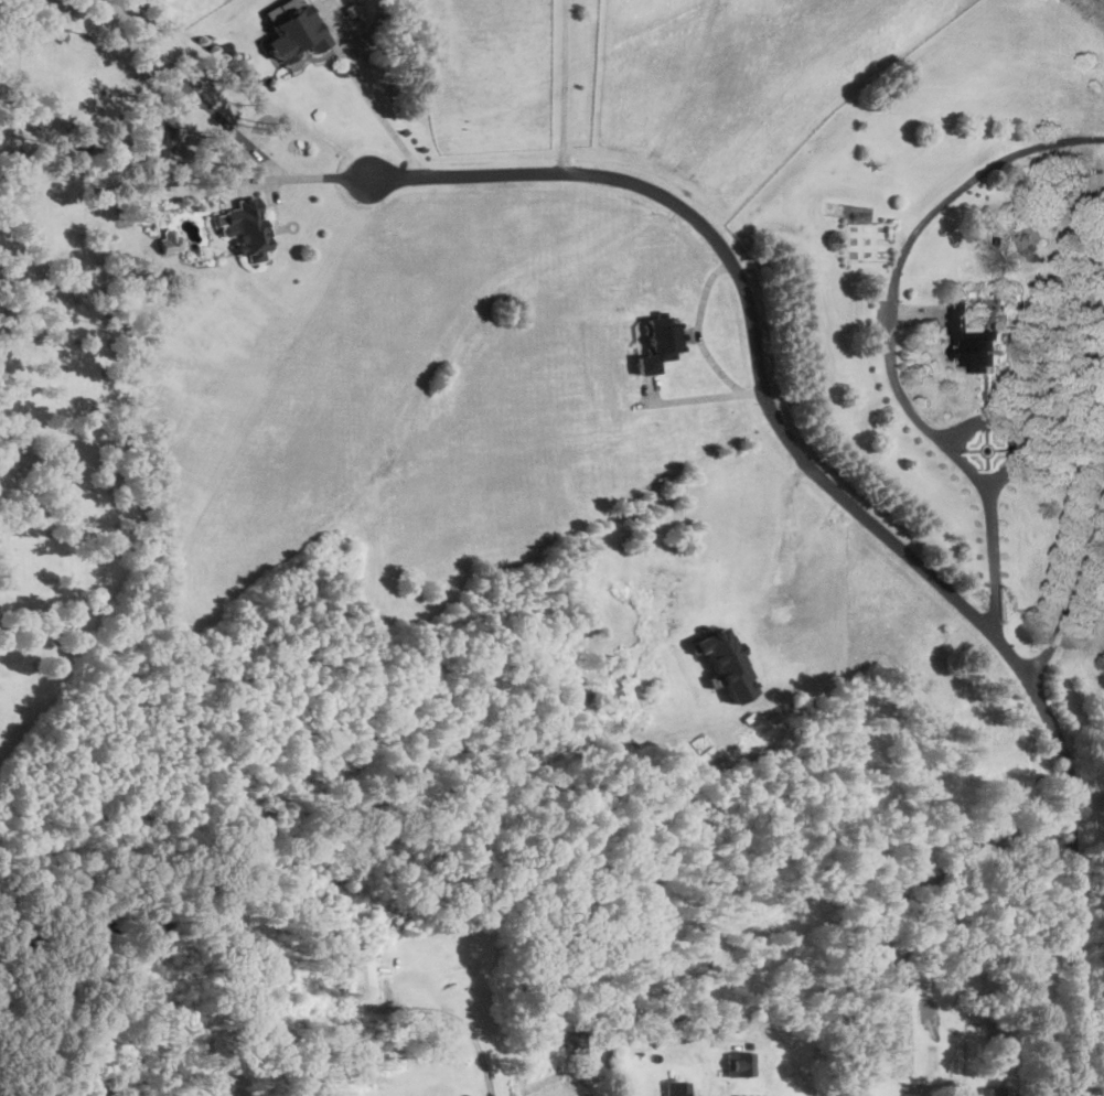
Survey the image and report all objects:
building: (293, 34)
road: (564, 86)
road: (374, 106)
road: (234, 129)
building: (164, 146)
road: (313, 176)
building: (245, 228)
road: (896, 268)
road: (698, 327)
building: (977, 341)
building: (658, 343)
road: (703, 397)
road: (1008, 428)
road: (849, 509)
road: (781, 538)
road: (994, 561)
road: (1070, 601)
building: (727, 664)
building: (742, 1062)
building: (676, 1087)
building: (992, 1090)

